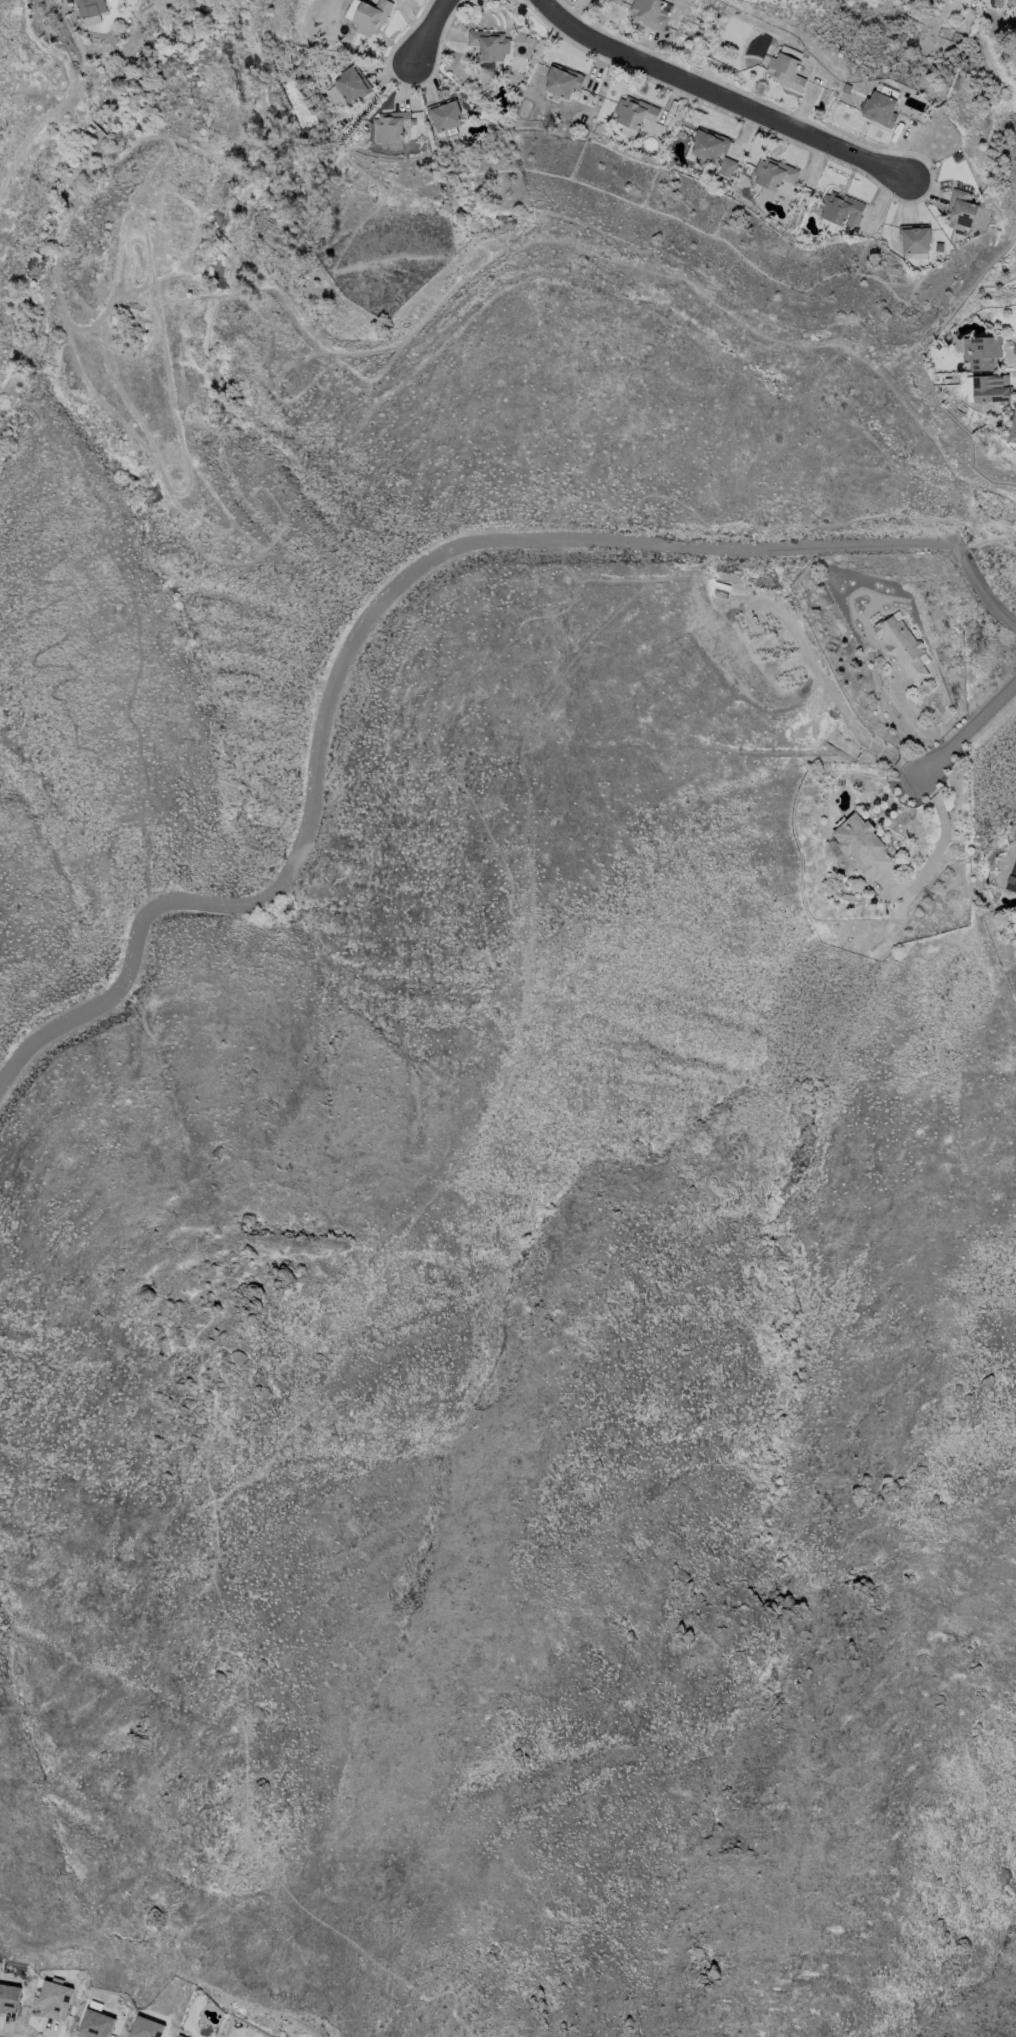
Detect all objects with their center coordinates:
building: (1011, 2)
building: (89, 7)
building: (647, 12)
building: (367, 15)
road: (424, 31)
building: (489, 44)
building: (785, 70)
building: (563, 81)
building: (346, 86)
road: (726, 92)
building: (880, 105)
building: (633, 110)
building: (444, 116)
building: (390, 129)
building: (707, 145)
building: (725, 166)
building: (773, 172)
building: (841, 208)
building: (960, 210)
building: (914, 237)
building: (982, 351)
building: (987, 387)
building: (1012, 433)
road: (1015, 501)
road: (385, 603)
building: (903, 647)
road: (970, 731)
road: (943, 834)
building: (860, 845)
building: (9, 1998)
building: (54, 1999)
building: (96, 2022)
building: (145, 2028)

